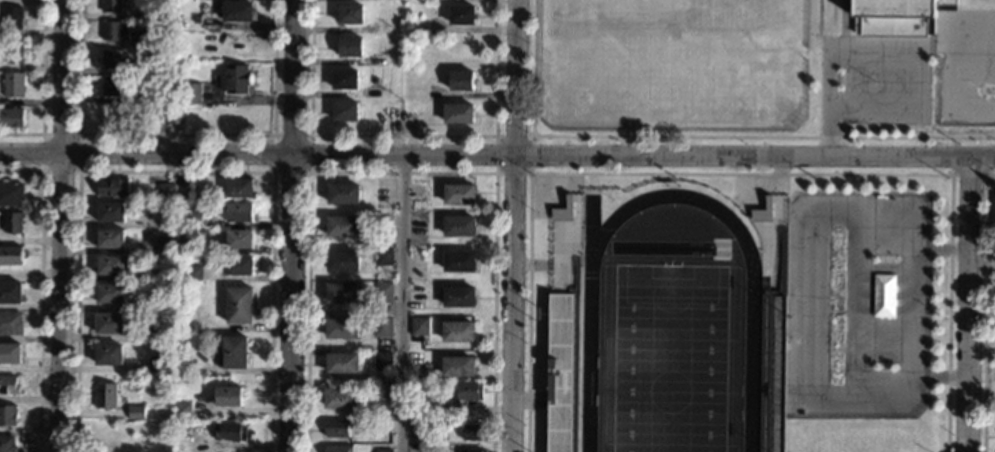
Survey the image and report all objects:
building: (110, 6)
building: (236, 11)
building: (148, 14)
building: (350, 14)
building: (461, 14)
building: (11, 17)
building: (897, 17)
building: (114, 31)
building: (147, 37)
building: (349, 47)
building: (461, 48)
building: (12, 50)
building: (156, 51)
building: (112, 59)
building: (154, 67)
building: (234, 79)
building: (344, 79)
building: (460, 80)
parking lot: (883, 81)
building: (12, 85)
road: (42, 87)
building: (113, 87)
building: (191, 93)
building: (147, 97)
park: (953, 108)
building: (344, 111)
building: (458, 113)
building: (109, 114)
building: (172, 114)
building: (11, 117)
road: (42, 133)
road: (175, 133)
road: (402, 134)
road: (695, 136)
road: (497, 155)
road: (173, 170)
road: (494, 170)
road: (308, 172)
road: (400, 172)
road: (738, 173)
road: (950, 174)
building: (112, 188)
building: (239, 188)
building: (166, 192)
building: (10, 194)
building: (342, 194)
building: (459, 194)
building: (771, 196)
building: (994, 209)
building: (110, 212)
building: (239, 212)
building: (193, 218)
building: (12, 222)
track: (590, 224)
road: (291, 225)
road: (61, 226)
building: (342, 226)
building: (459, 226)
road: (512, 226)
building: (109, 238)
building: (238, 239)
building: (164, 245)
track: (747, 248)
road: (918, 248)
building: (10, 255)
building: (384, 257)
building: (342, 261)
building: (458, 261)
building: (112, 265)
building: (238, 265)
road: (983, 269)
building: (192, 273)
building: (552, 273)
road: (39, 290)
building: (10, 292)
building: (383, 292)
building: (110, 293)
building: (341, 293)
building: (458, 297)
building: (161, 303)
road: (401, 303)
parking lot: (856, 304)
road: (971, 304)
building: (238, 305)
road: (863, 305)
road: (984, 308)
building: (10, 323)
building: (109, 324)
building: (419, 326)
building: (381, 327)
building: (341, 328)
building: (457, 331)
building: (157, 333)
track: (586, 351)
building: (232, 352)
building: (9, 353)
building: (108, 354)
park: (670, 357)
building: (382, 361)
building: (341, 363)
building: (159, 365)
building: (457, 366)
road: (937, 375)
building: (8, 385)
building: (551, 387)
building: (469, 391)
road: (904, 394)
building: (104, 395)
building: (227, 396)
building: (383, 397)
building: (340, 398)
building: (181, 410)
building: (135, 412)
building: (7, 415)
building: (381, 426)
building: (337, 428)
building: (231, 431)
building: (421, 431)
building: (473, 432)
building: (6, 443)
building: (337, 448)
building: (383, 450)
building: (471, 450)

